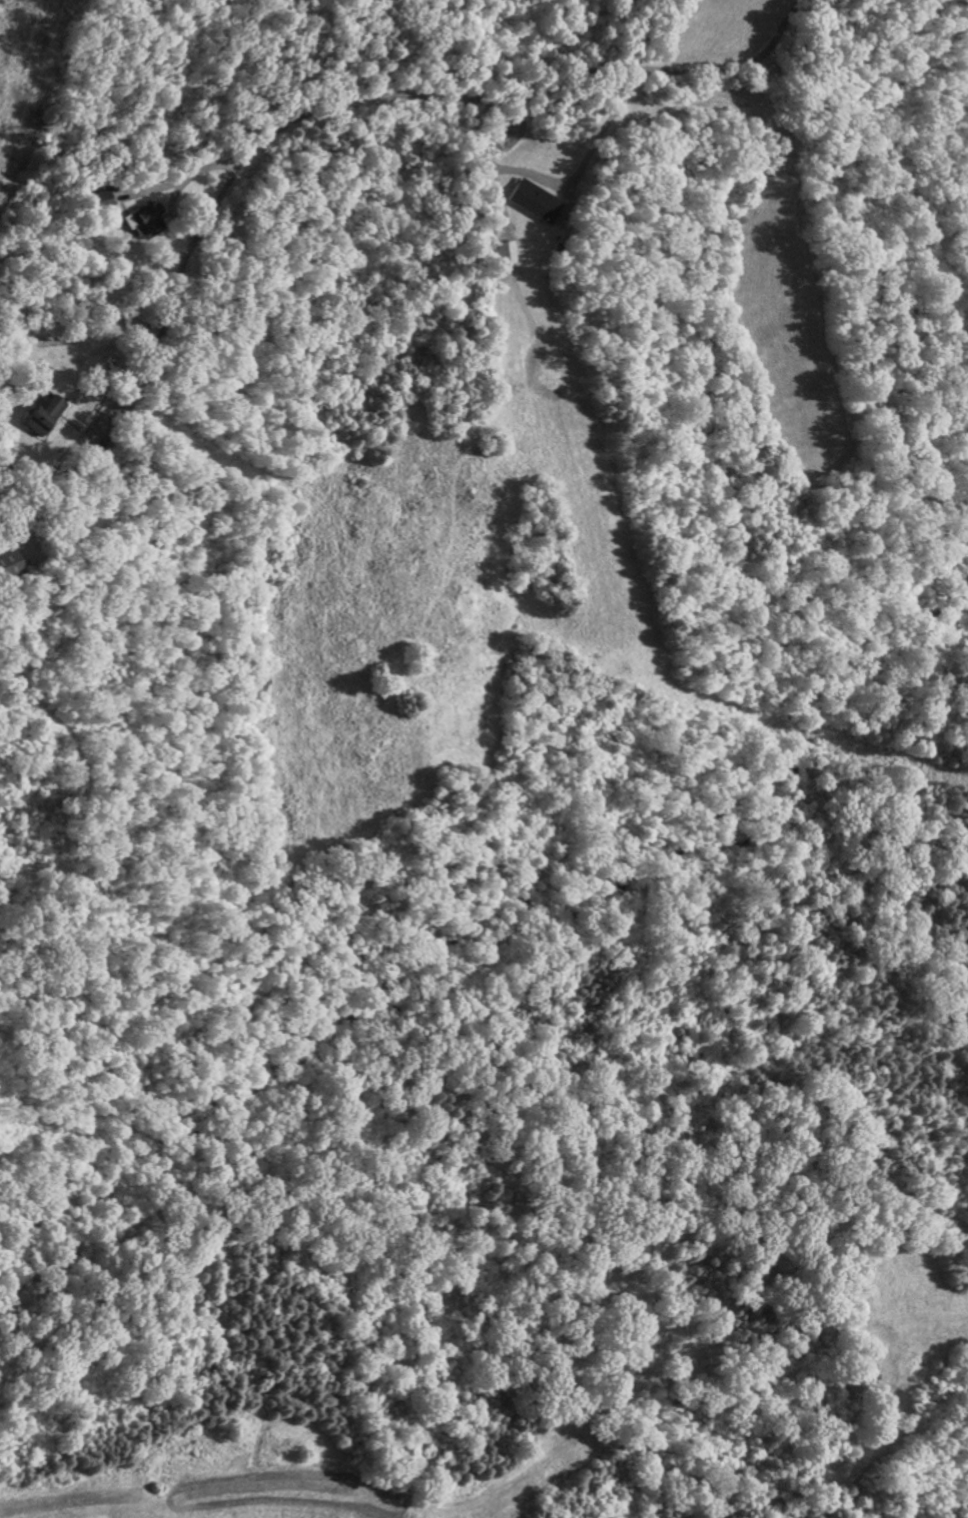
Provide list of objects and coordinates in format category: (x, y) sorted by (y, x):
road: (365, 97)
road: (604, 128)
road: (495, 164)
road: (192, 172)
building: (574, 182)
building: (185, 199)
building: (87, 397)
building: (50, 546)

